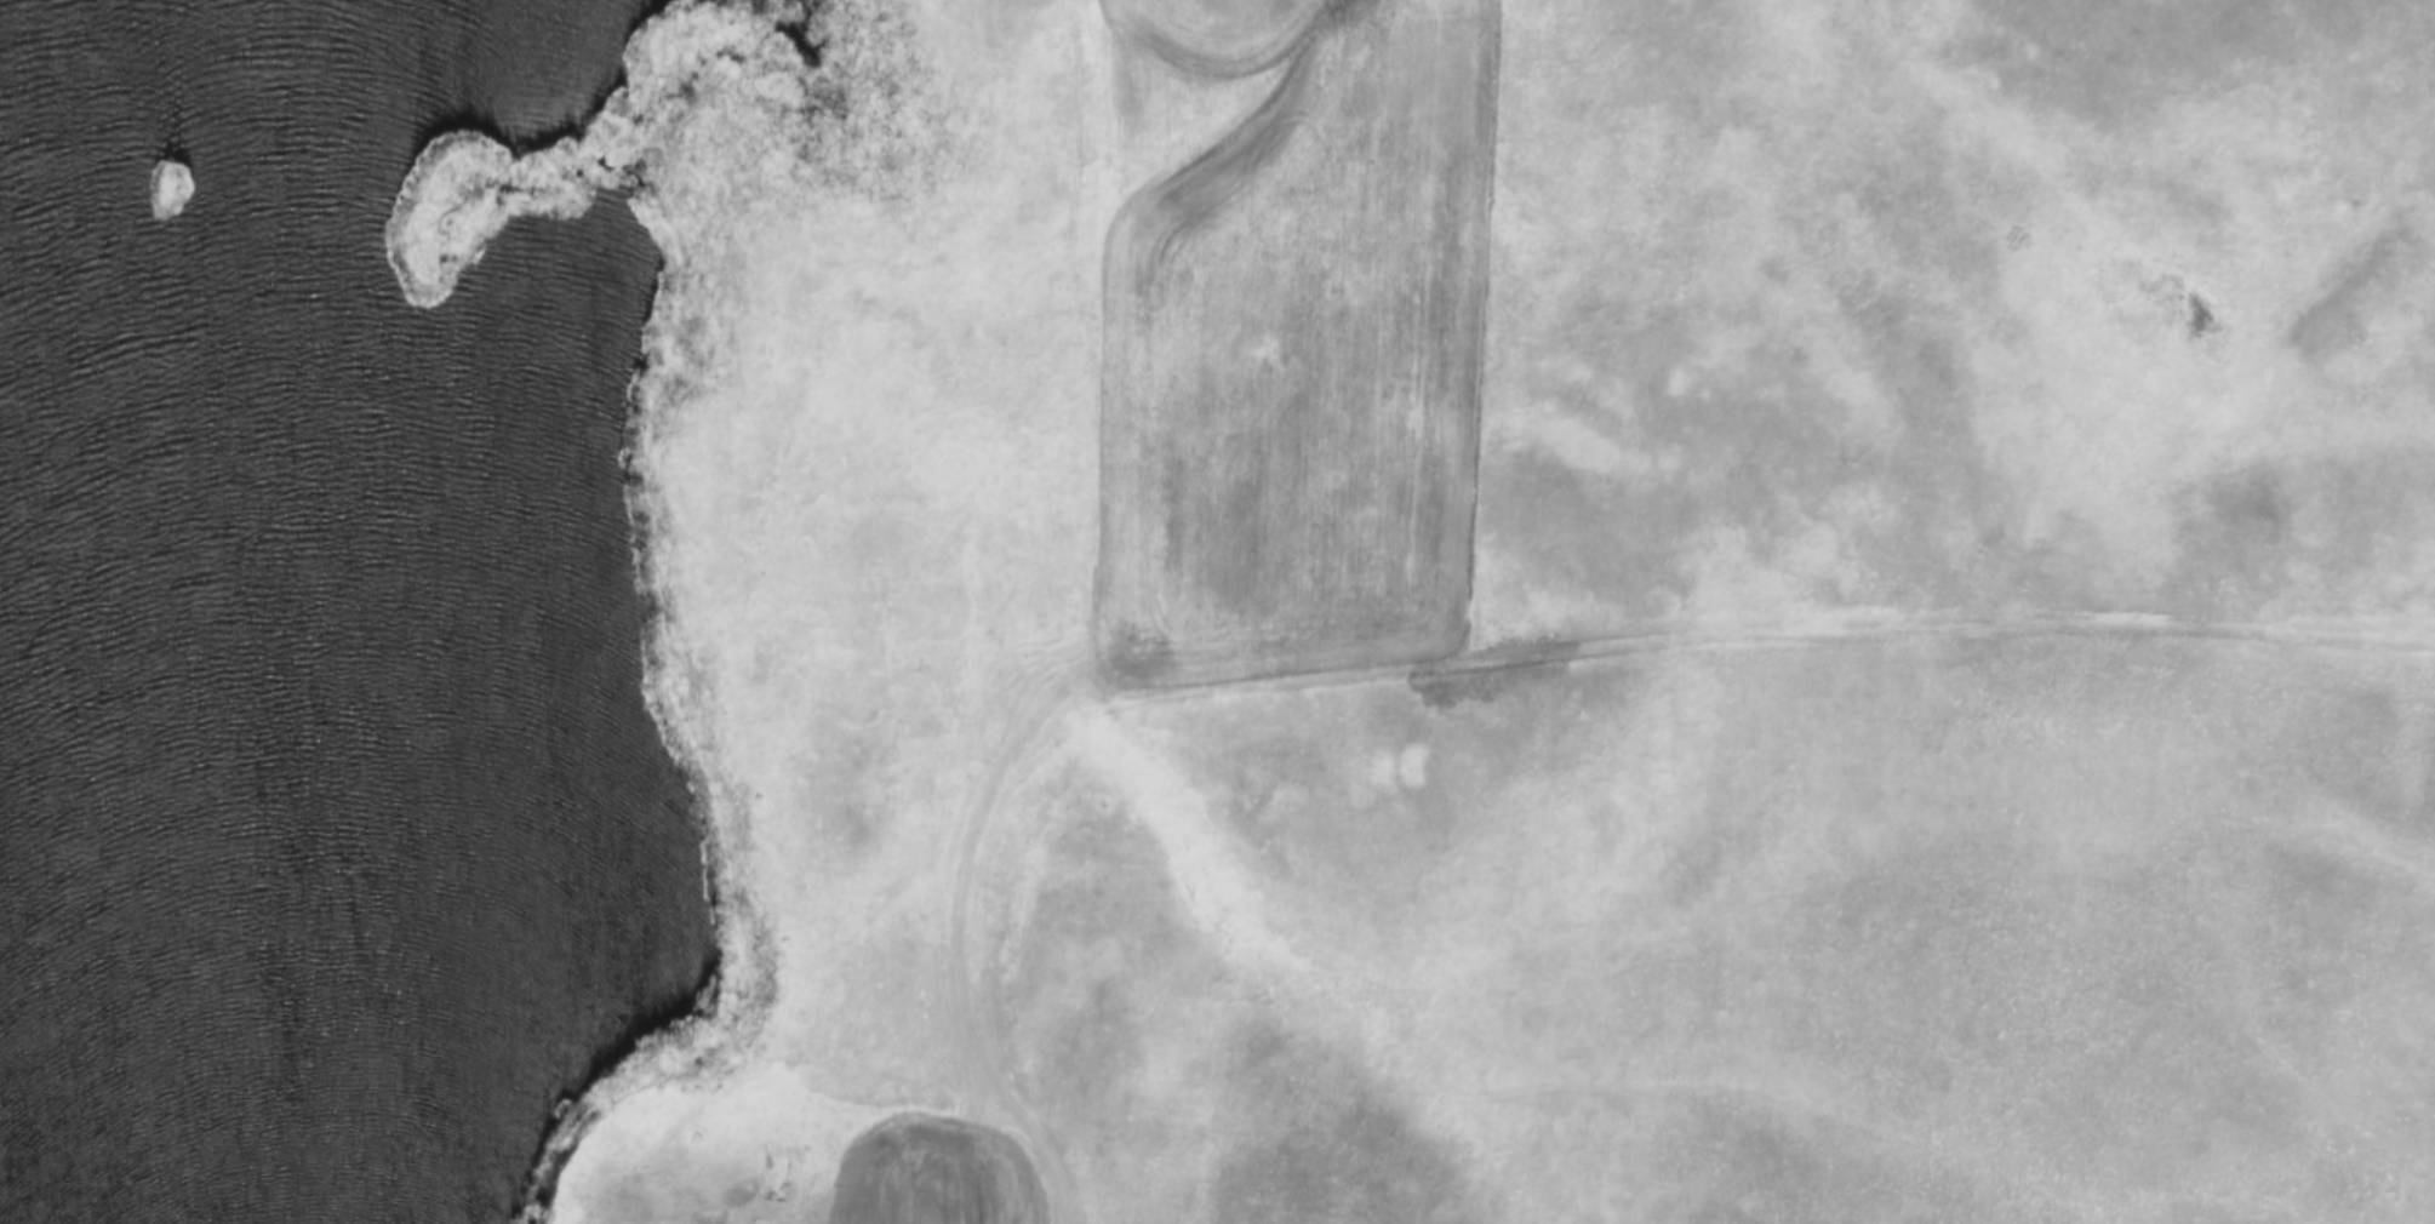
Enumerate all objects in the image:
road: (839, 948)

